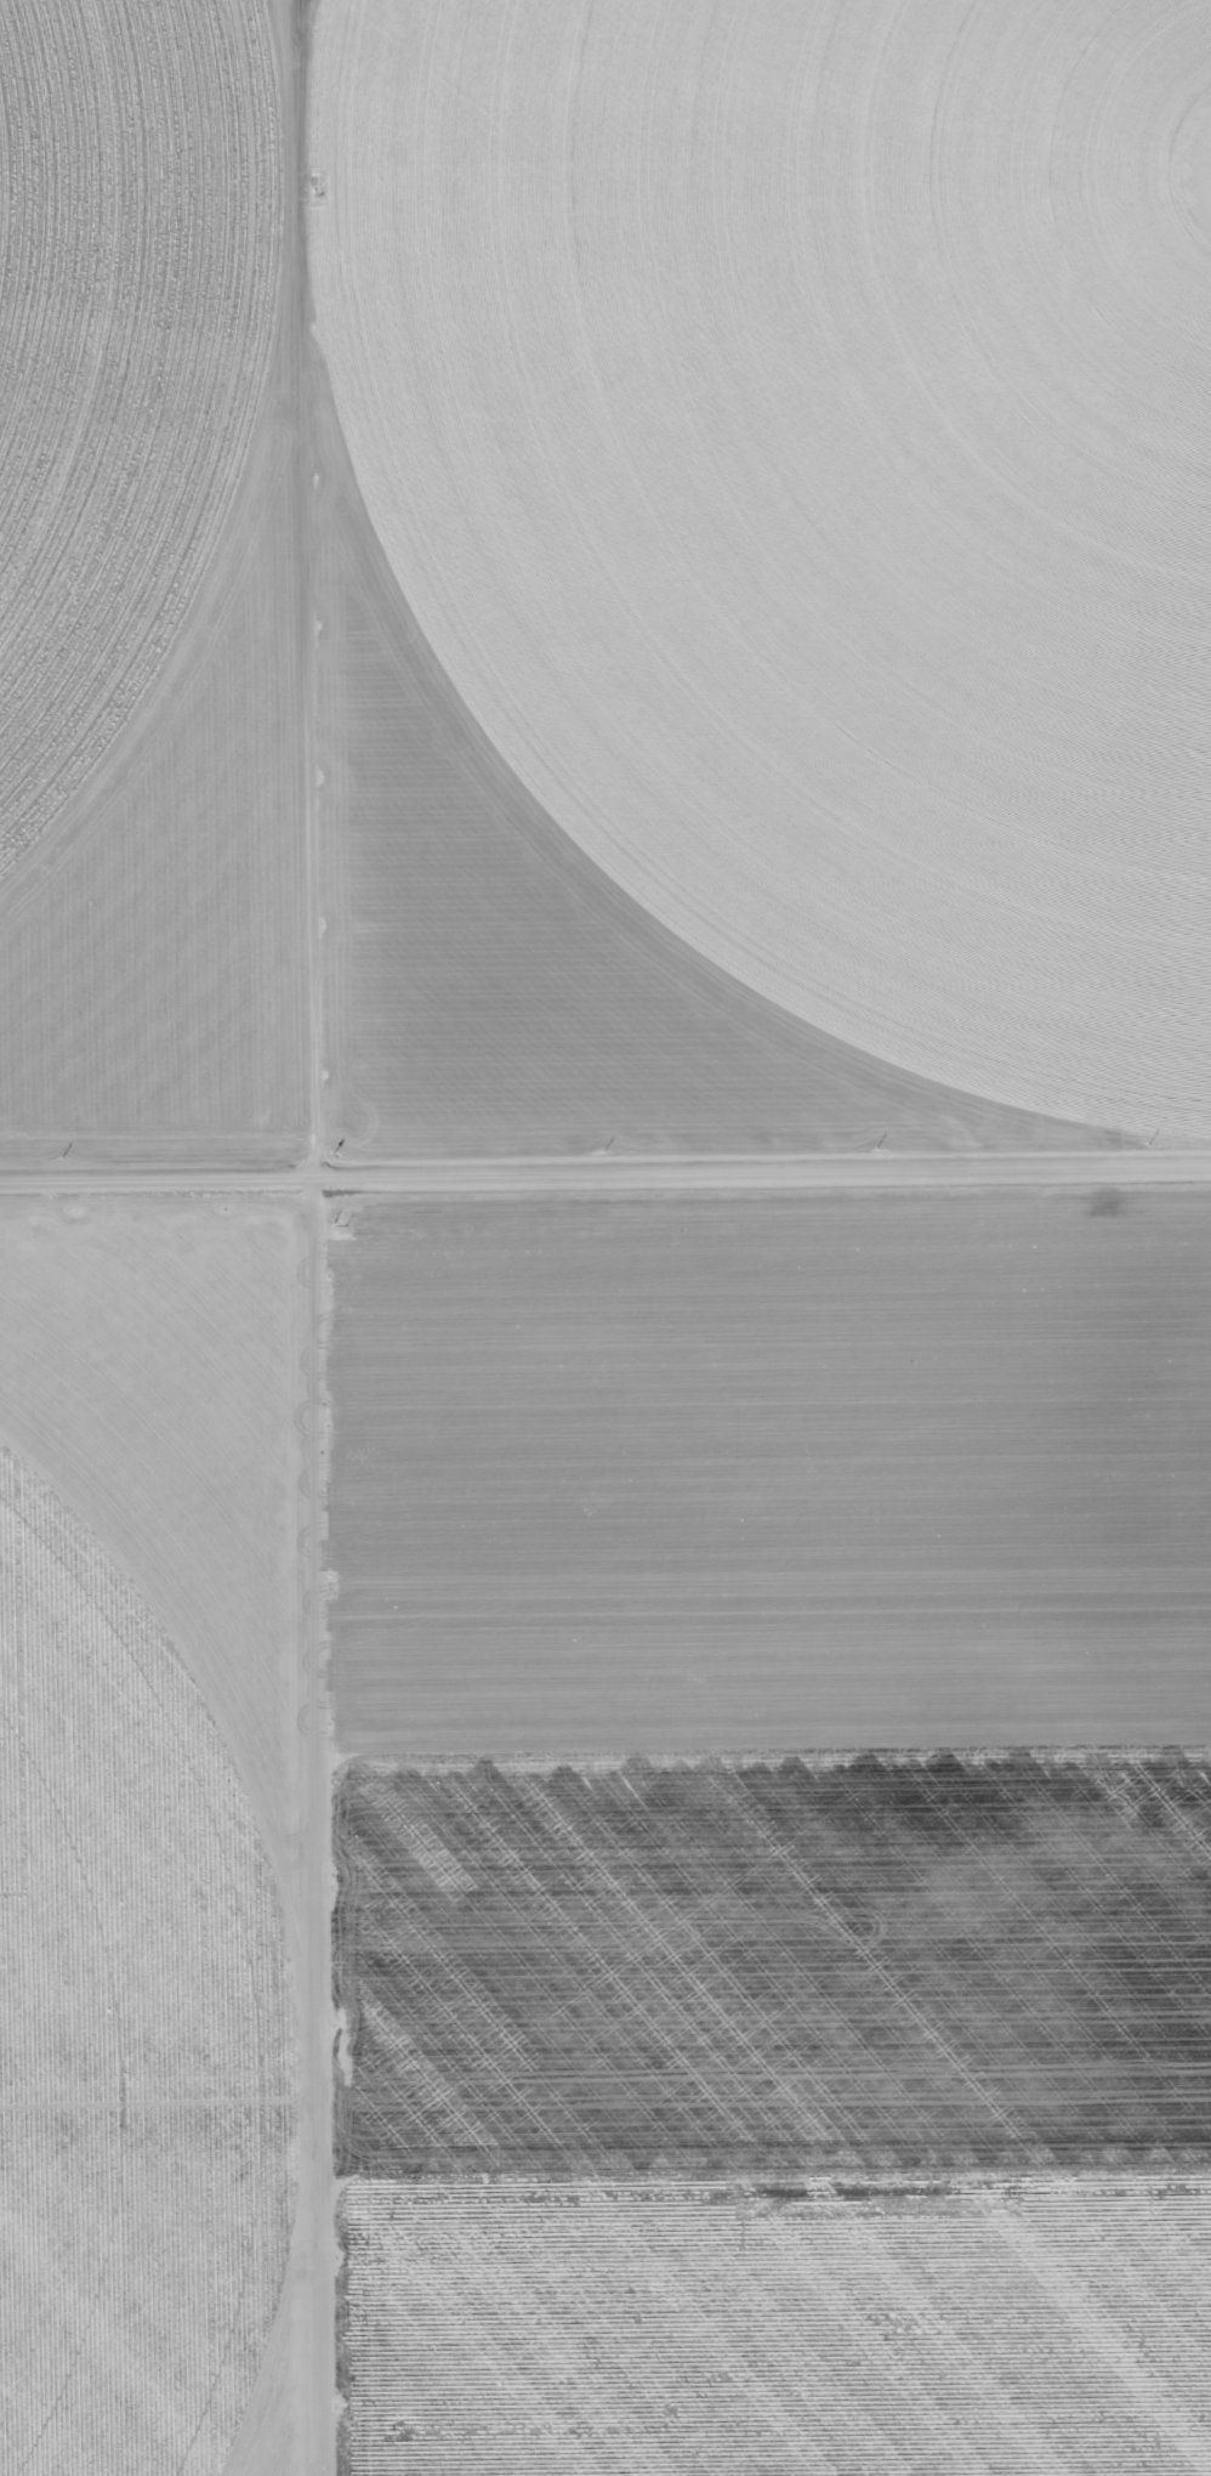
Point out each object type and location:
road: (605, 1179)
road: (314, 1237)

